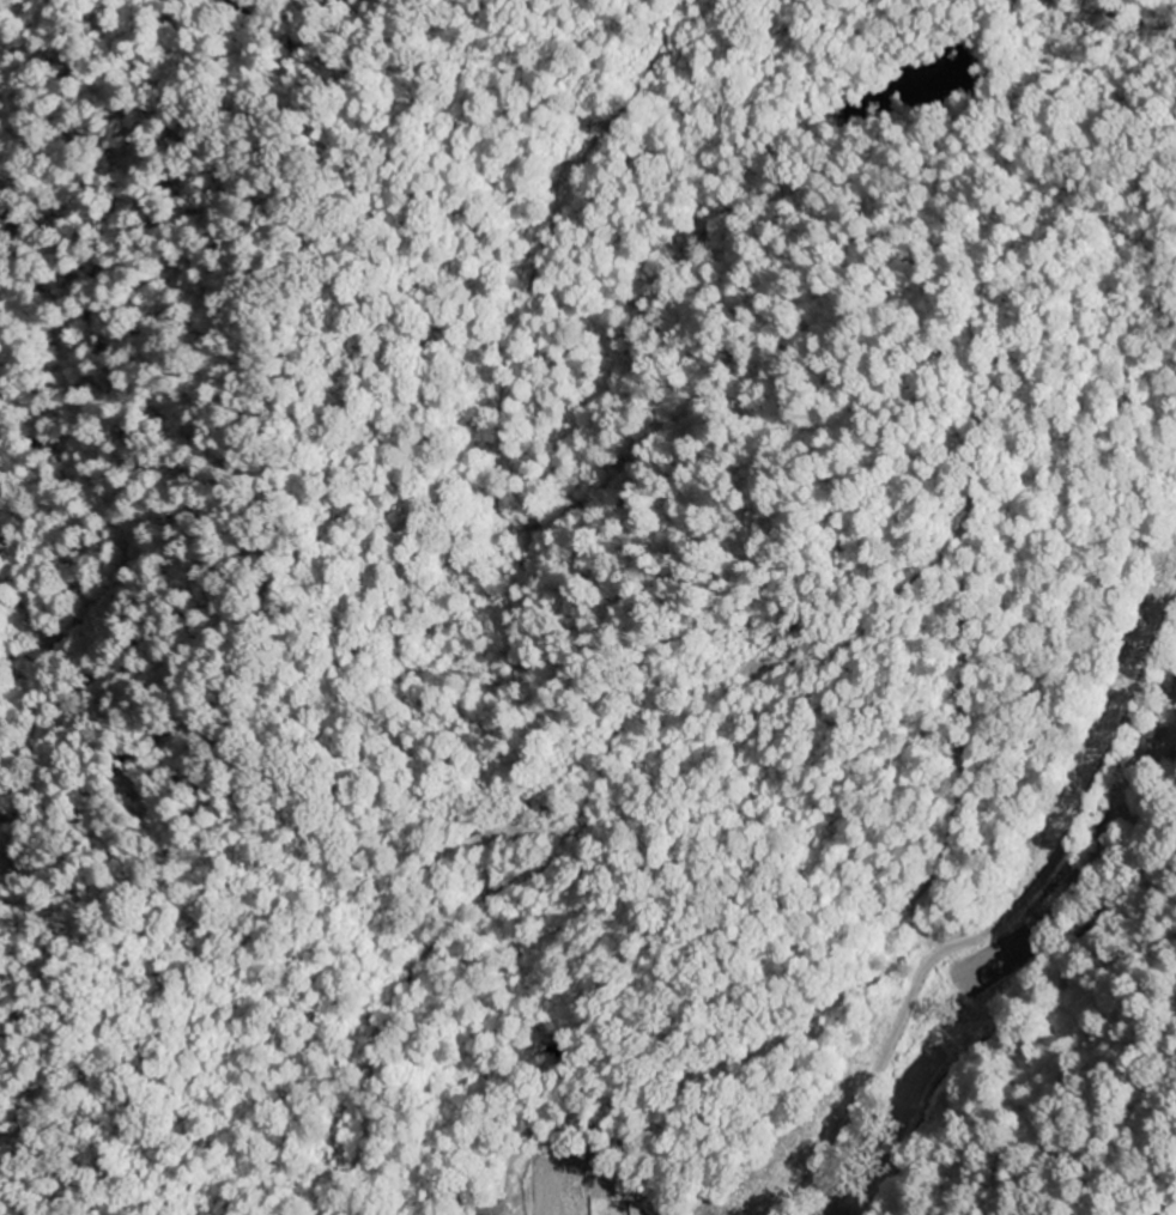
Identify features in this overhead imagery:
road: (1010, 918)

